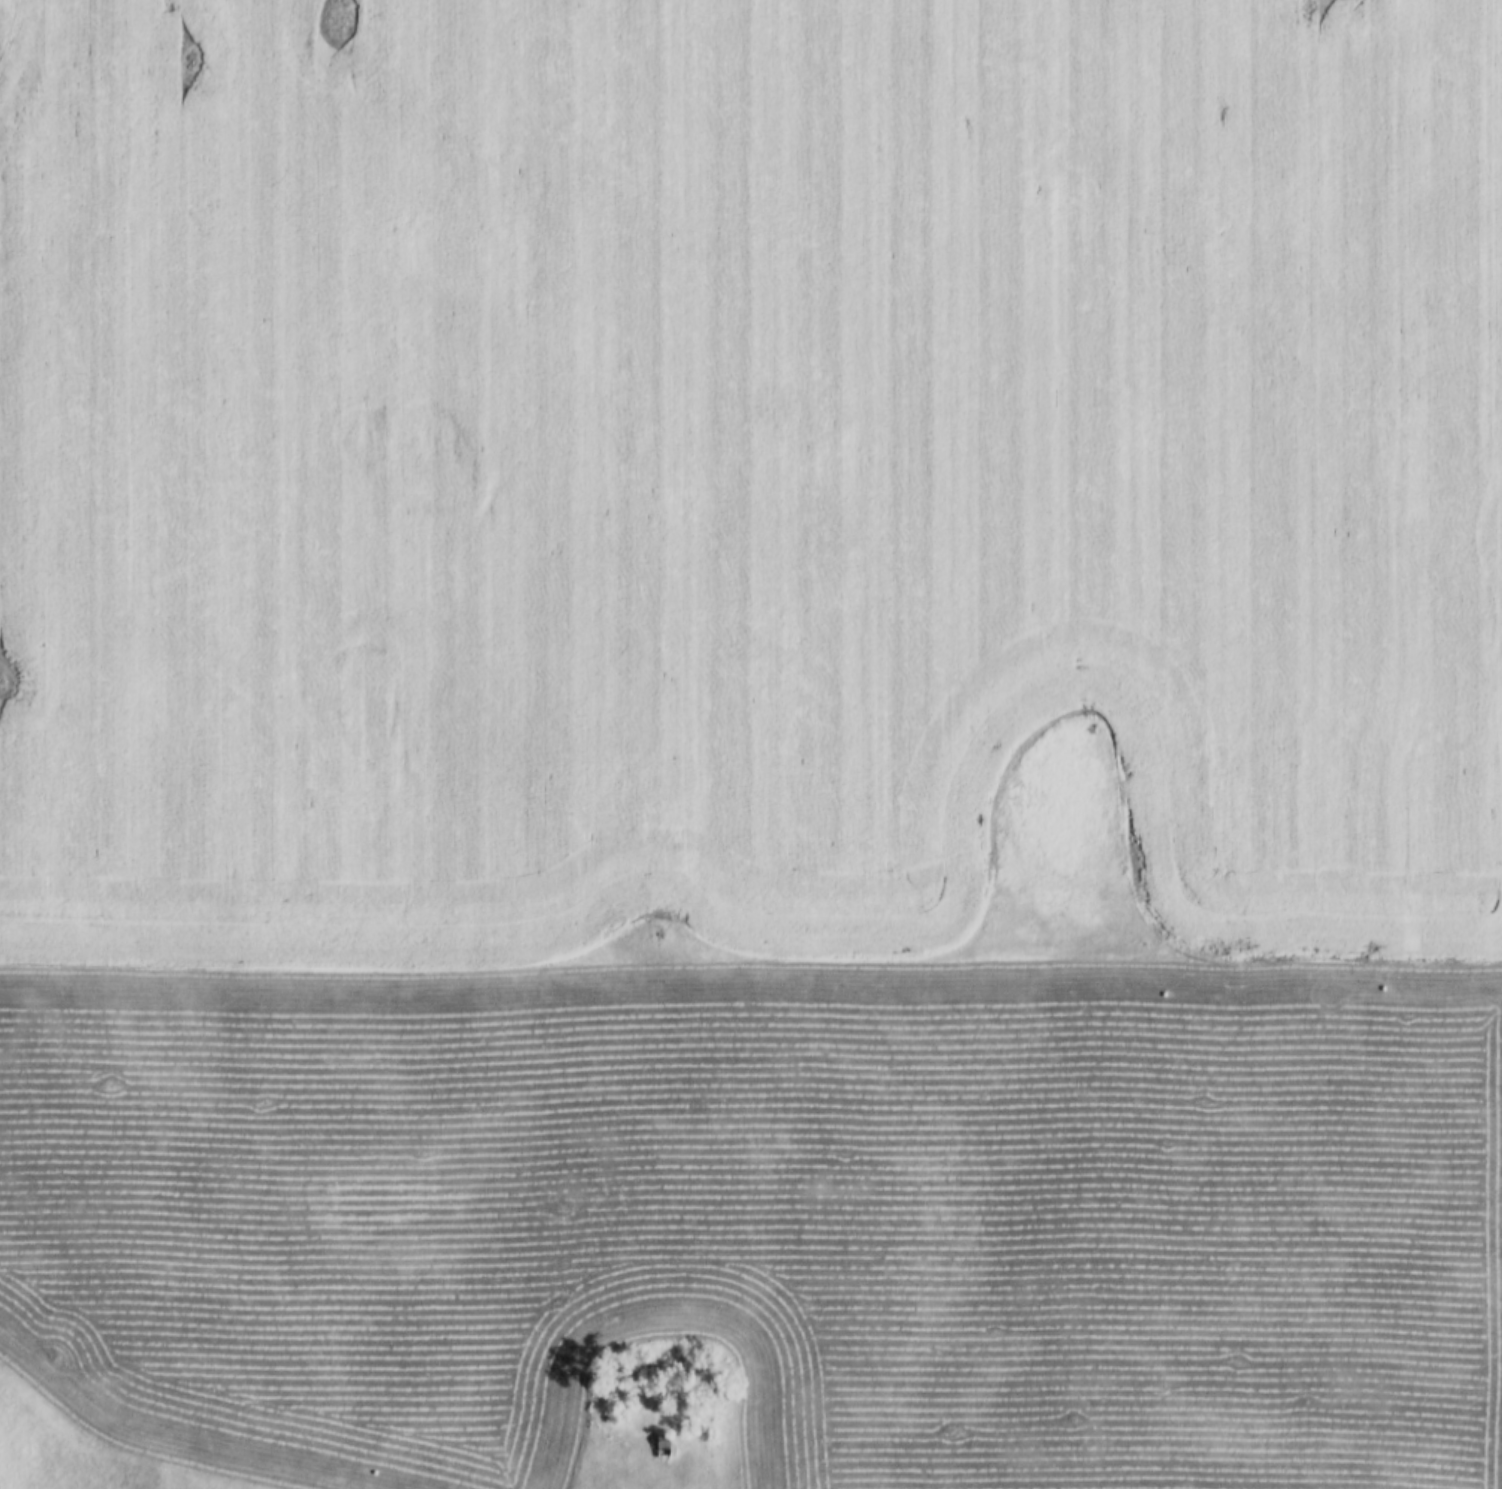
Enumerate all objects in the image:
building: (1002, 1102)
building: (1098, 1191)
building: (662, 1449)

